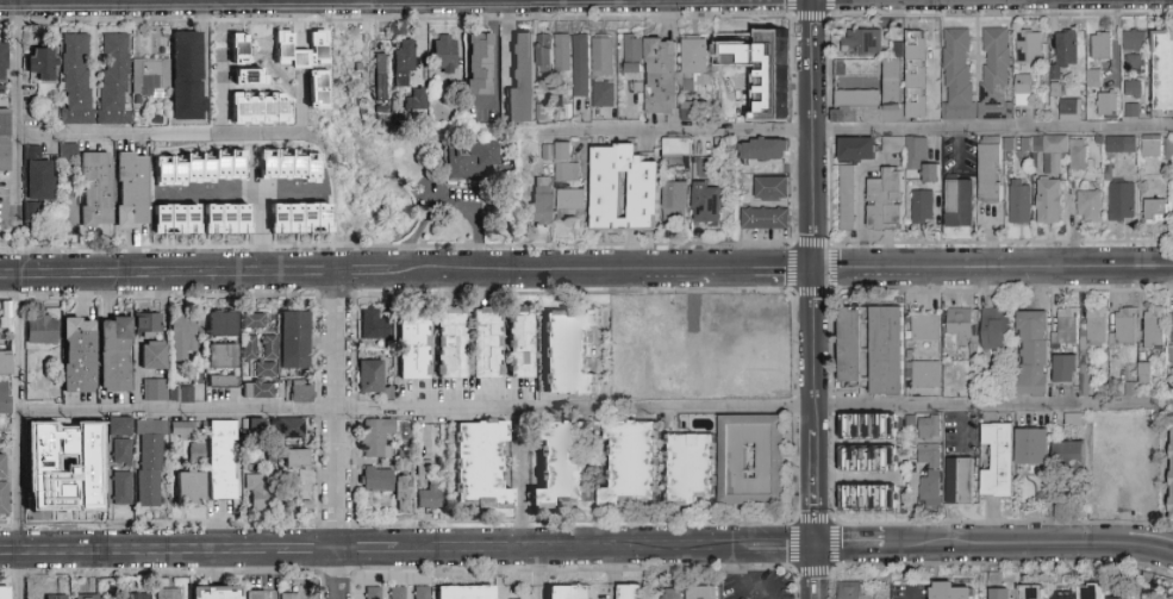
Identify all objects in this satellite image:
road: (810, 17)
building: (862, 42)
building: (1134, 42)
building: (747, 45)
building: (1100, 46)
building: (233, 48)
building: (1029, 48)
building: (917, 50)
building: (1065, 50)
building: (562, 52)
building: (443, 54)
building: (634, 54)
building: (544, 58)
building: (2, 61)
building: (42, 63)
building: (403, 63)
building: (580, 63)
building: (694, 63)
building: (305, 64)
building: (479, 64)
building: (1134, 64)
building: (857, 69)
building: (1163, 71)
building: (604, 73)
building: (957, 74)
building: (996, 75)
building: (150, 76)
building: (186, 76)
building: (662, 76)
building: (381, 77)
building: (1092, 77)
building: (76, 79)
building: (114, 79)
building: (522, 81)
building: (1133, 88)
building: (1022, 92)
building: (414, 99)
building: (857, 99)
building: (898, 102)
building: (1108, 105)
building: (256, 107)
road: (15, 111)
building: (1071, 111)
building: (1130, 111)
building: (687, 112)
building: (5, 121)
road: (793, 130)
road: (828, 130)
road: (859, 131)
road: (812, 133)
road: (155, 135)
building: (893, 145)
building: (1115, 145)
building: (1152, 149)
building: (67, 150)
building: (765, 150)
building: (857, 150)
building: (676, 151)
building: (1048, 152)
building: (5, 156)
building: (1077, 156)
building: (921, 160)
building: (473, 161)
building: (292, 166)
building: (201, 168)
building: (991, 174)
building: (568, 186)
building: (35, 187)
building: (95, 189)
building: (132, 189)
building: (772, 189)
building: (625, 191)
road: (243, 194)
building: (678, 196)
building: (846, 199)
building: (885, 200)
building: (542, 201)
building: (1049, 201)
road: (442, 202)
building: (1019, 202)
building: (1122, 202)
building: (710, 204)
building: (960, 204)
building: (922, 206)
building: (1088, 207)
building: (1156, 211)
building: (69, 217)
building: (229, 219)
building: (302, 219)
building: (765, 219)
building: (179, 220)
road: (256, 221)
traffic signals: (812, 269)
road: (992, 269)
road: (406, 273)
road: (829, 293)
road: (754, 313)
building: (2, 319)
building: (667, 319)
building: (254, 320)
building: (148, 324)
building: (223, 324)
building: (374, 325)
building: (1096, 326)
building: (1172, 326)
building: (925, 327)
building: (1066, 327)
building: (1123, 327)
building: (961, 329)
building: (1154, 329)
building: (42, 330)
building: (996, 330)
building: (185, 331)
road: (694, 338)
building: (293, 341)
building: (450, 343)
building: (486, 343)
building: (522, 343)
building: (414, 345)
building: (249, 347)
building: (851, 347)
building: (569, 351)
building: (886, 351)
building: (1032, 354)
building: (79, 355)
building: (114, 355)
building: (154, 356)
building: (223, 356)
building: (267, 357)
building: (672, 358)
building: (5, 362)
building: (754, 362)
building: (1063, 369)
road: (17, 372)
building: (923, 375)
building: (955, 375)
building: (370, 376)
building: (223, 381)
building: (1084, 381)
building: (155, 391)
building: (260, 391)
building: (301, 392)
building: (181, 394)
building: (4, 397)
road: (953, 406)
road: (813, 407)
road: (324, 410)
road: (339, 412)
building: (1073, 420)
building: (909, 423)
building: (861, 424)
building: (288, 425)
building: (119, 426)
building: (252, 426)
building: (929, 428)
building: (185, 429)
road: (960, 429)
building: (44, 437)
building: (375, 437)
road: (851, 443)
building: (1032, 447)
building: (121, 451)
building: (263, 453)
building: (1068, 456)
building: (87, 458)
building: (295, 458)
building: (222, 460)
building: (861, 461)
building: (999, 461)
building: (734, 462)
building: (149, 463)
building: (630, 463)
building: (561, 464)
building: (2, 466)
building: (480, 466)
building: (690, 469)
building: (929, 472)
building: (1172, 476)
building: (376, 479)
road: (851, 479)
road: (523, 480)
building: (960, 481)
building: (61, 486)
building: (191, 487)
building: (121, 488)
building: (428, 488)
building: (257, 492)
building: (403, 494)
building: (861, 495)
building: (4, 499)
road: (1125, 506)
road: (780, 548)
traffic signals: (815, 548)
road: (573, 549)
road: (969, 549)
road: (310, 551)
road: (370, 551)
road: (1149, 551)
road: (138, 553)
road: (815, 573)
road: (498, 574)
road: (535, 574)
road: (612, 574)
road: (342, 575)
road: (747, 580)
building: (850, 591)
building: (216, 592)
building: (464, 592)
building: (568, 592)
building: (631, 592)
building: (949, 592)
building: (1031, 592)
building: (1091, 592)
building: (5, 593)
building: (169, 593)
building: (373, 593)
building: (398, 593)
building: (422, 593)
building: (701, 593)
building: (257, 594)
road: (910, 594)
building: (1000, 594)
building: (86, 595)
building: (132, 595)
building: (289, 595)
building: (670, 595)
building: (55, 597)
building: (743, 598)
building: (1066, 598)
building: (1122, 598)

